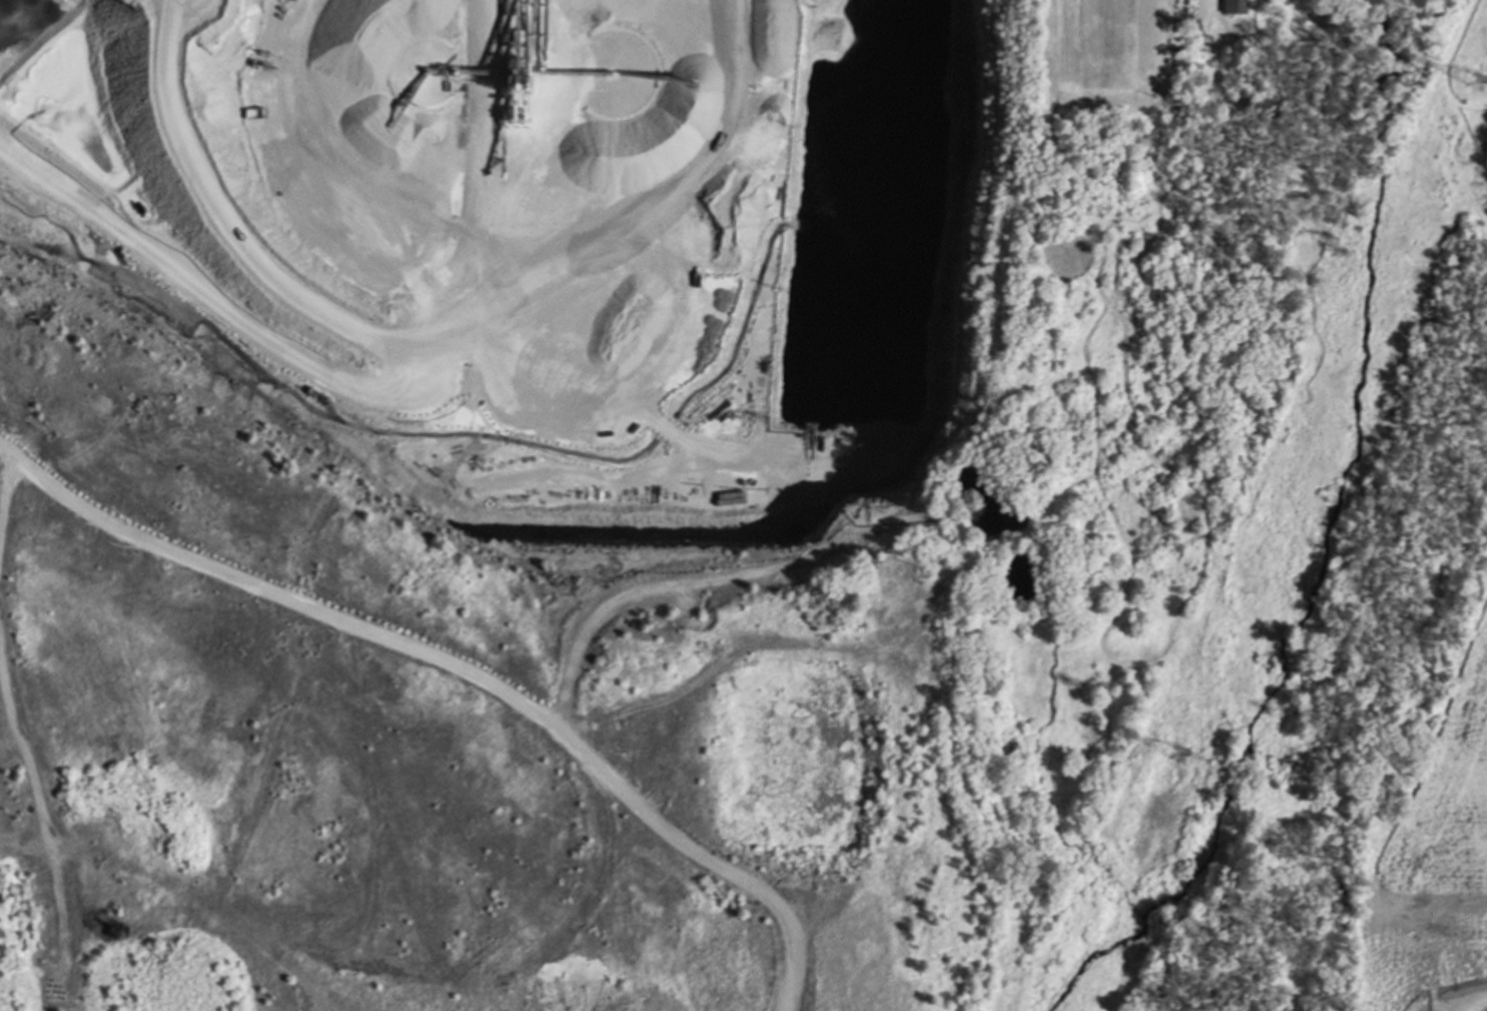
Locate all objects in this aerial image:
building: (1233, 6)
road: (1215, 35)
power tower: (1476, 75)
quarry: (621, 506)
power tower: (1179, 750)
crop: (1436, 861)

